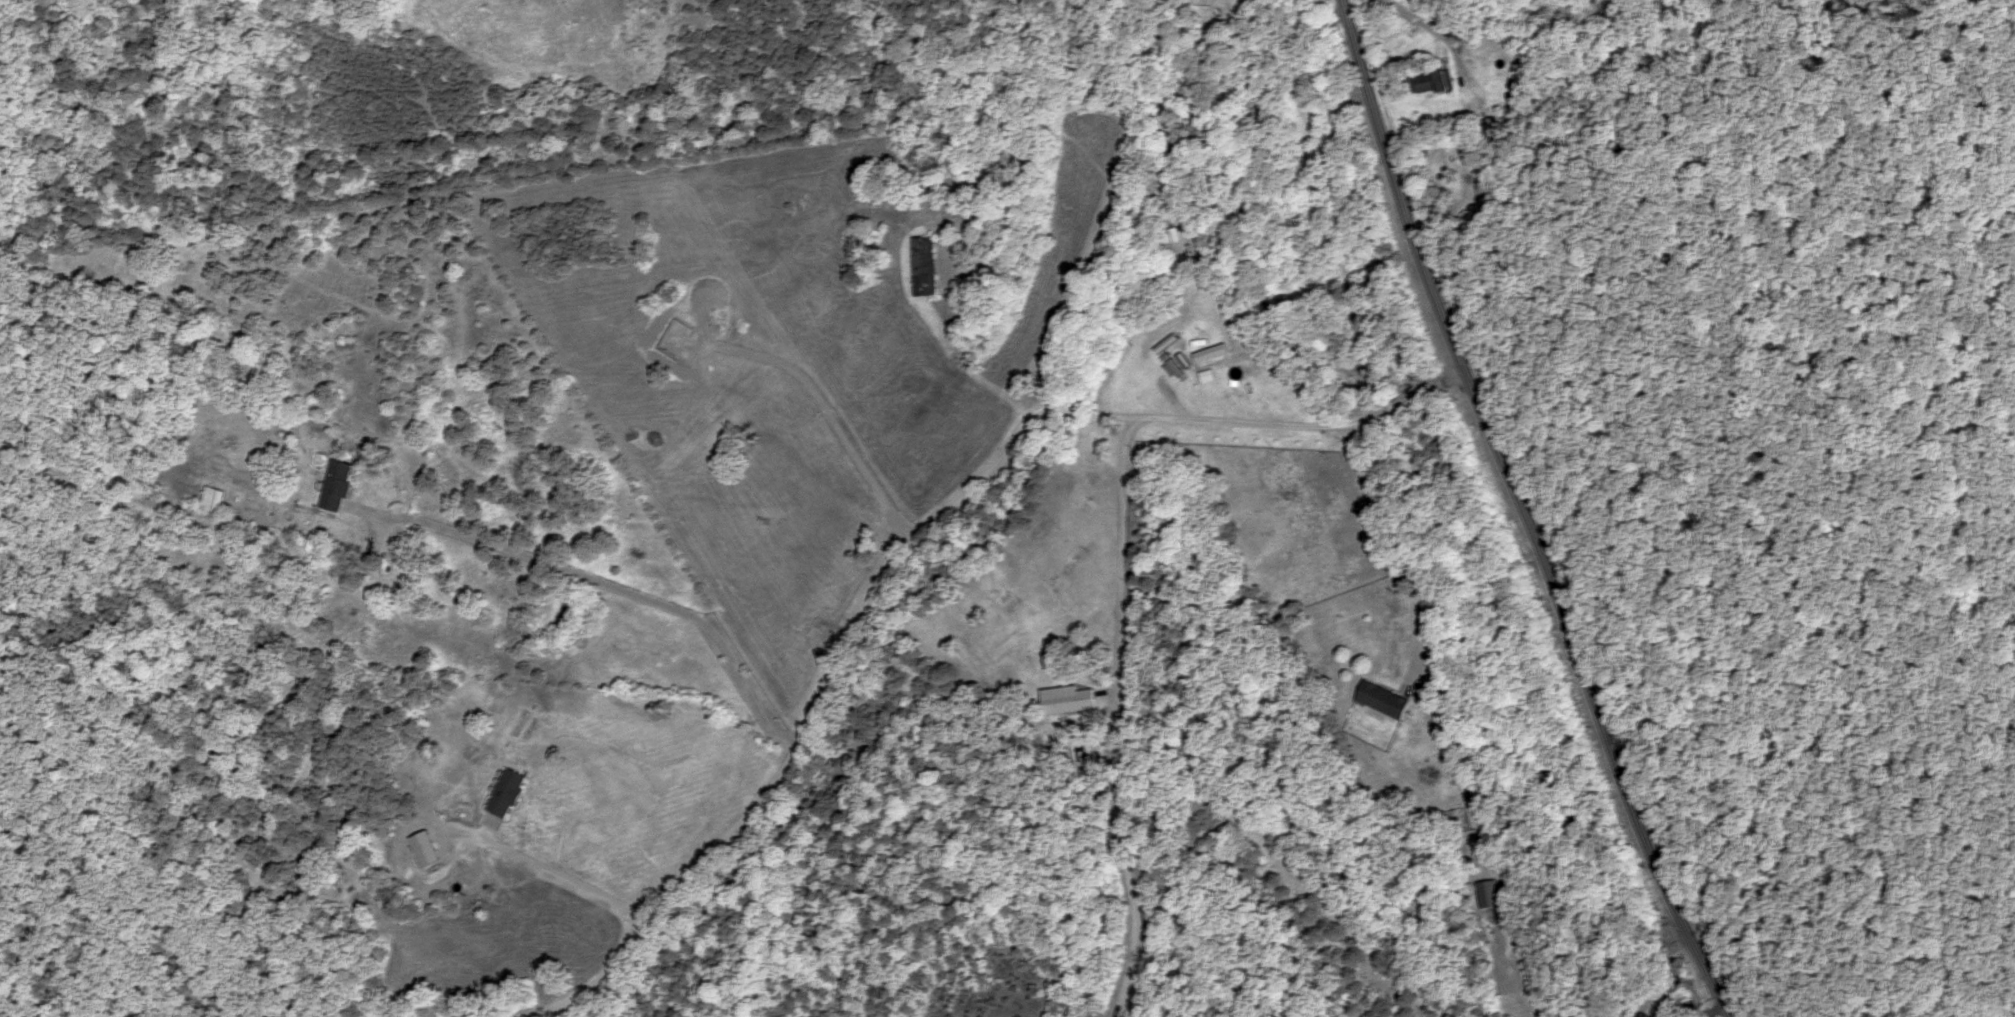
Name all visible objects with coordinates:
building: (1295, 0)
building: (1490, 40)
building: (1429, 81)
building: (1492, 127)
building: (925, 265)
building: (1207, 376)
park: (1793, 466)
building: (337, 485)
building: (214, 496)
road: (1524, 513)
road: (859, 515)
road: (1871, 610)
building: (1383, 699)
building: (1068, 700)
building: (507, 793)
building: (425, 848)
building: (1488, 894)
road: (1842, 935)

